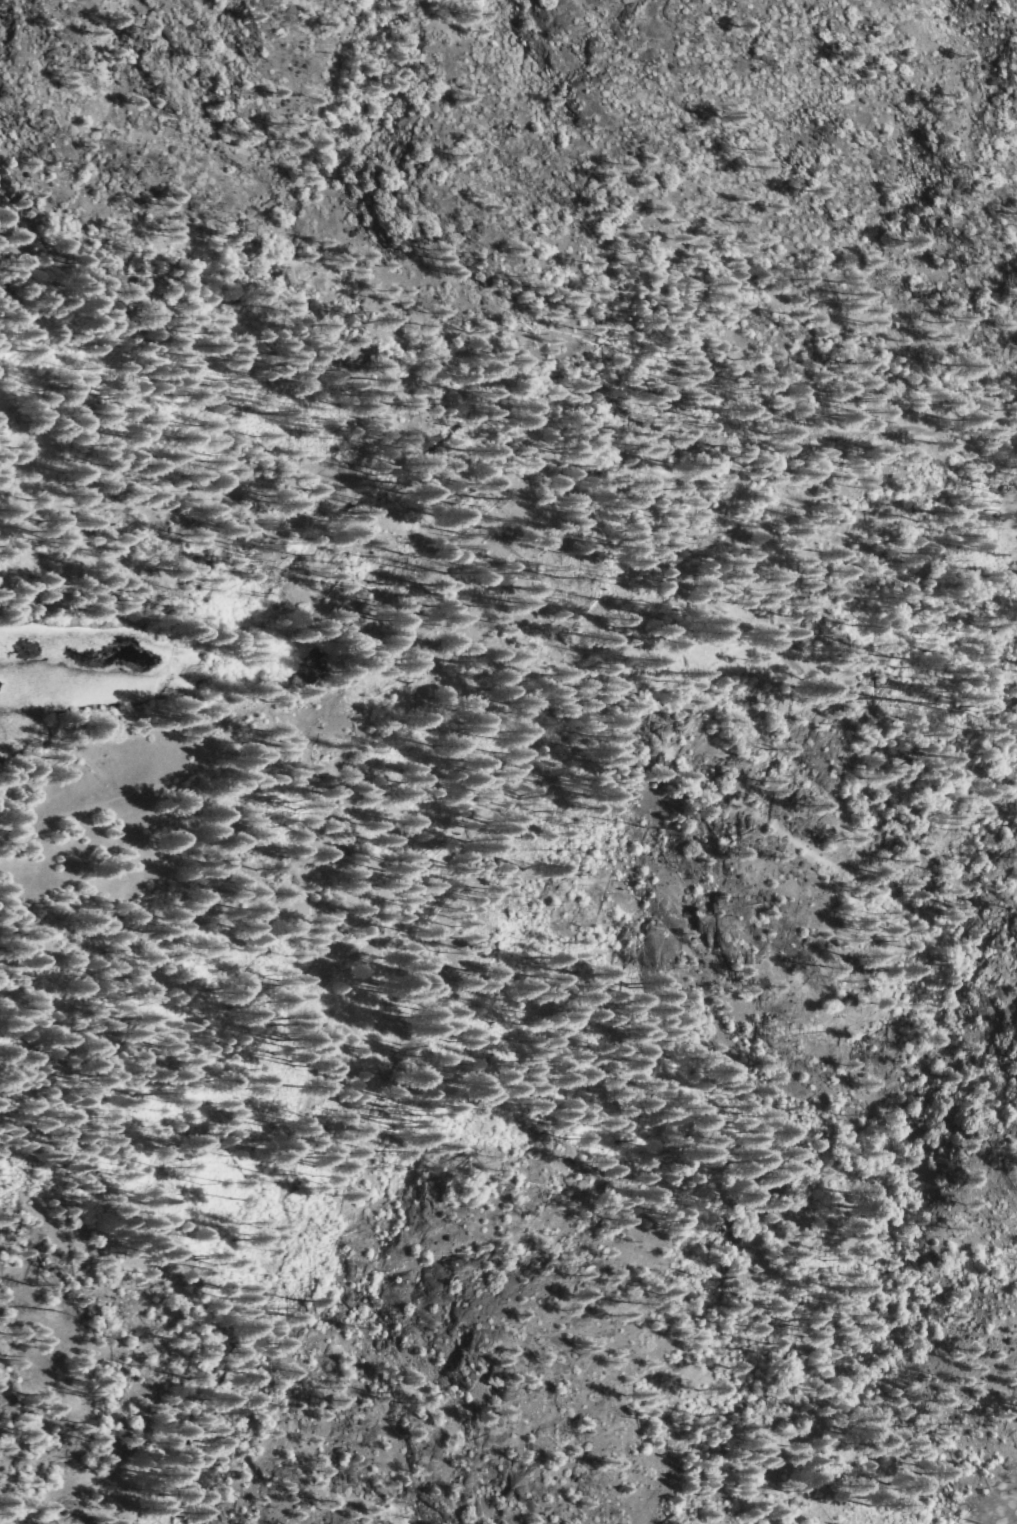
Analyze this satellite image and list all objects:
road: (75, 808)
airstrip: (833, 866)

